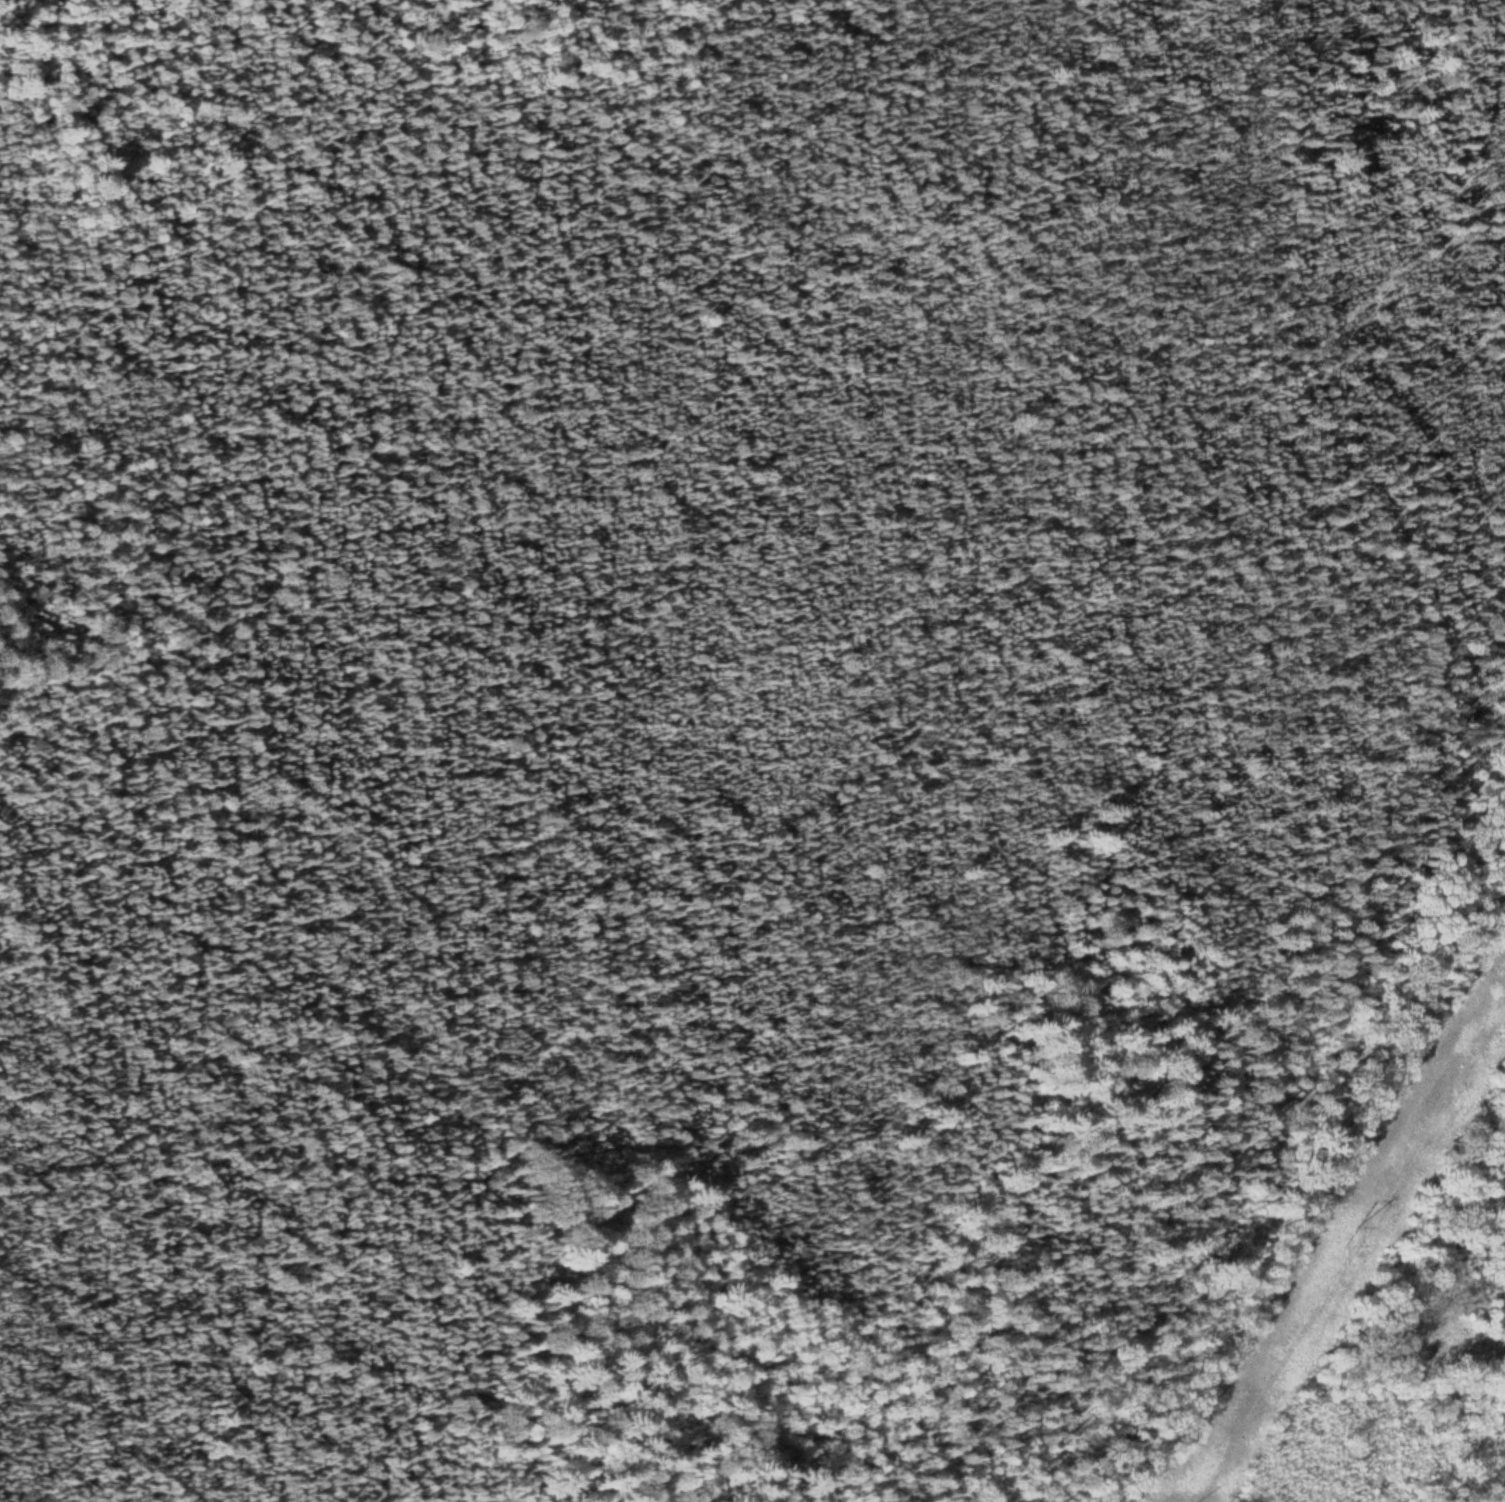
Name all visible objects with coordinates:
road: (1350, 1265)

